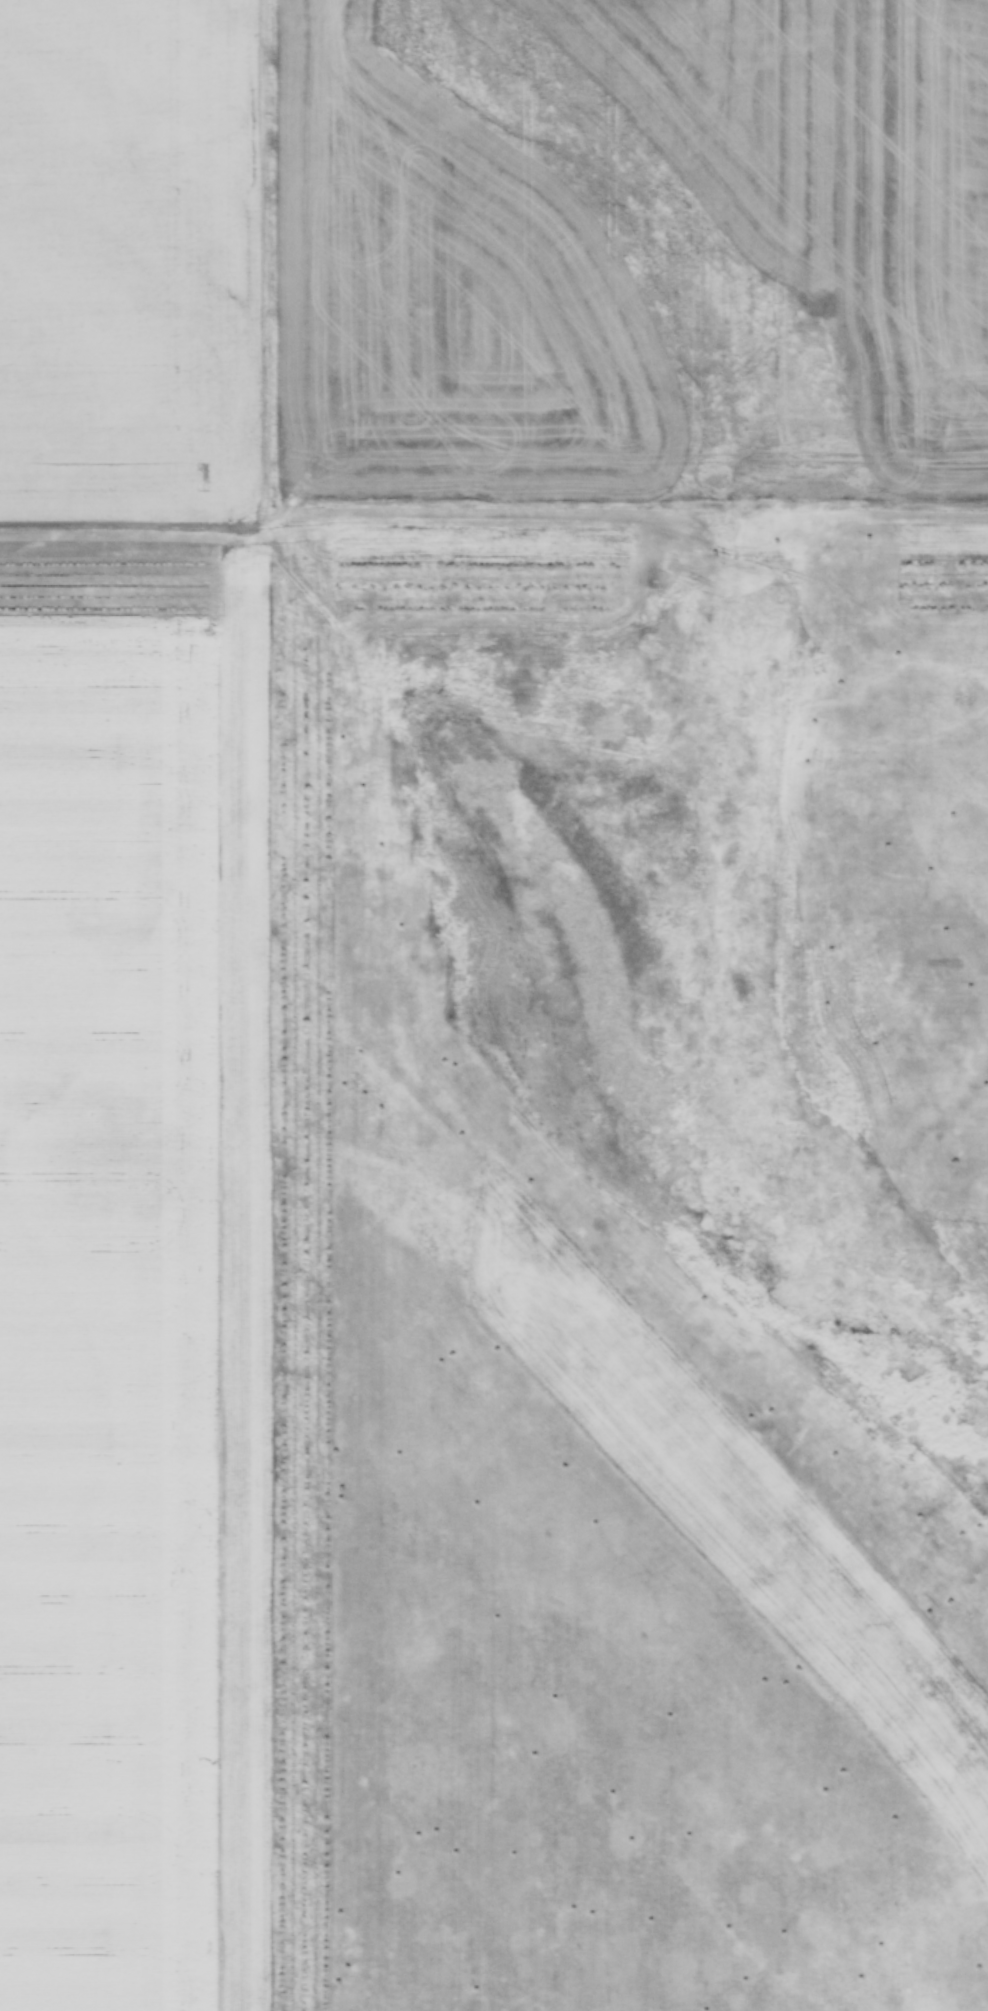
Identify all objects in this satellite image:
crop: (126, 260)
crop: (104, 1310)

